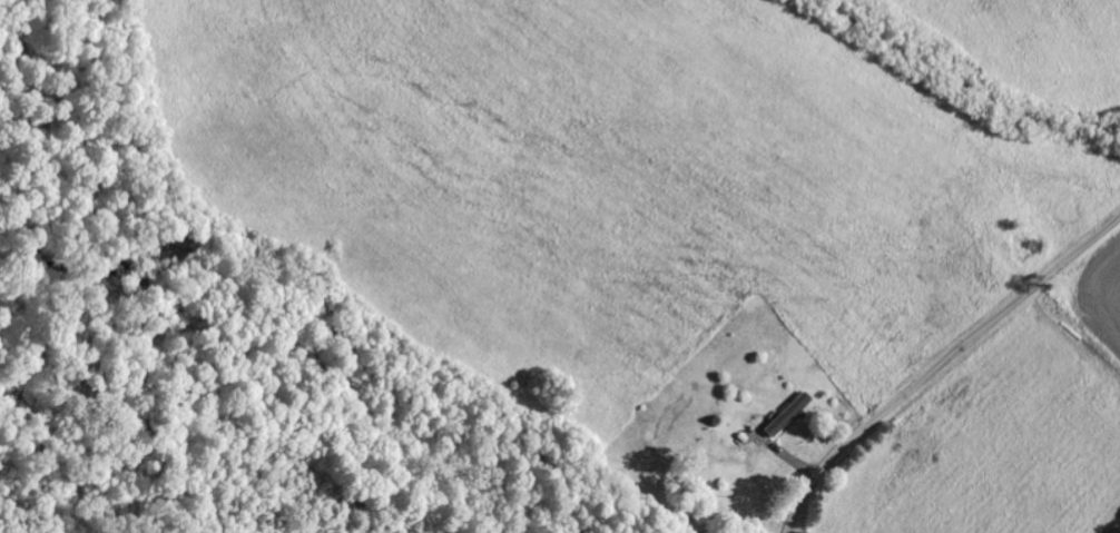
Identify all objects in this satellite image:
road: (942, 364)
building: (789, 415)

